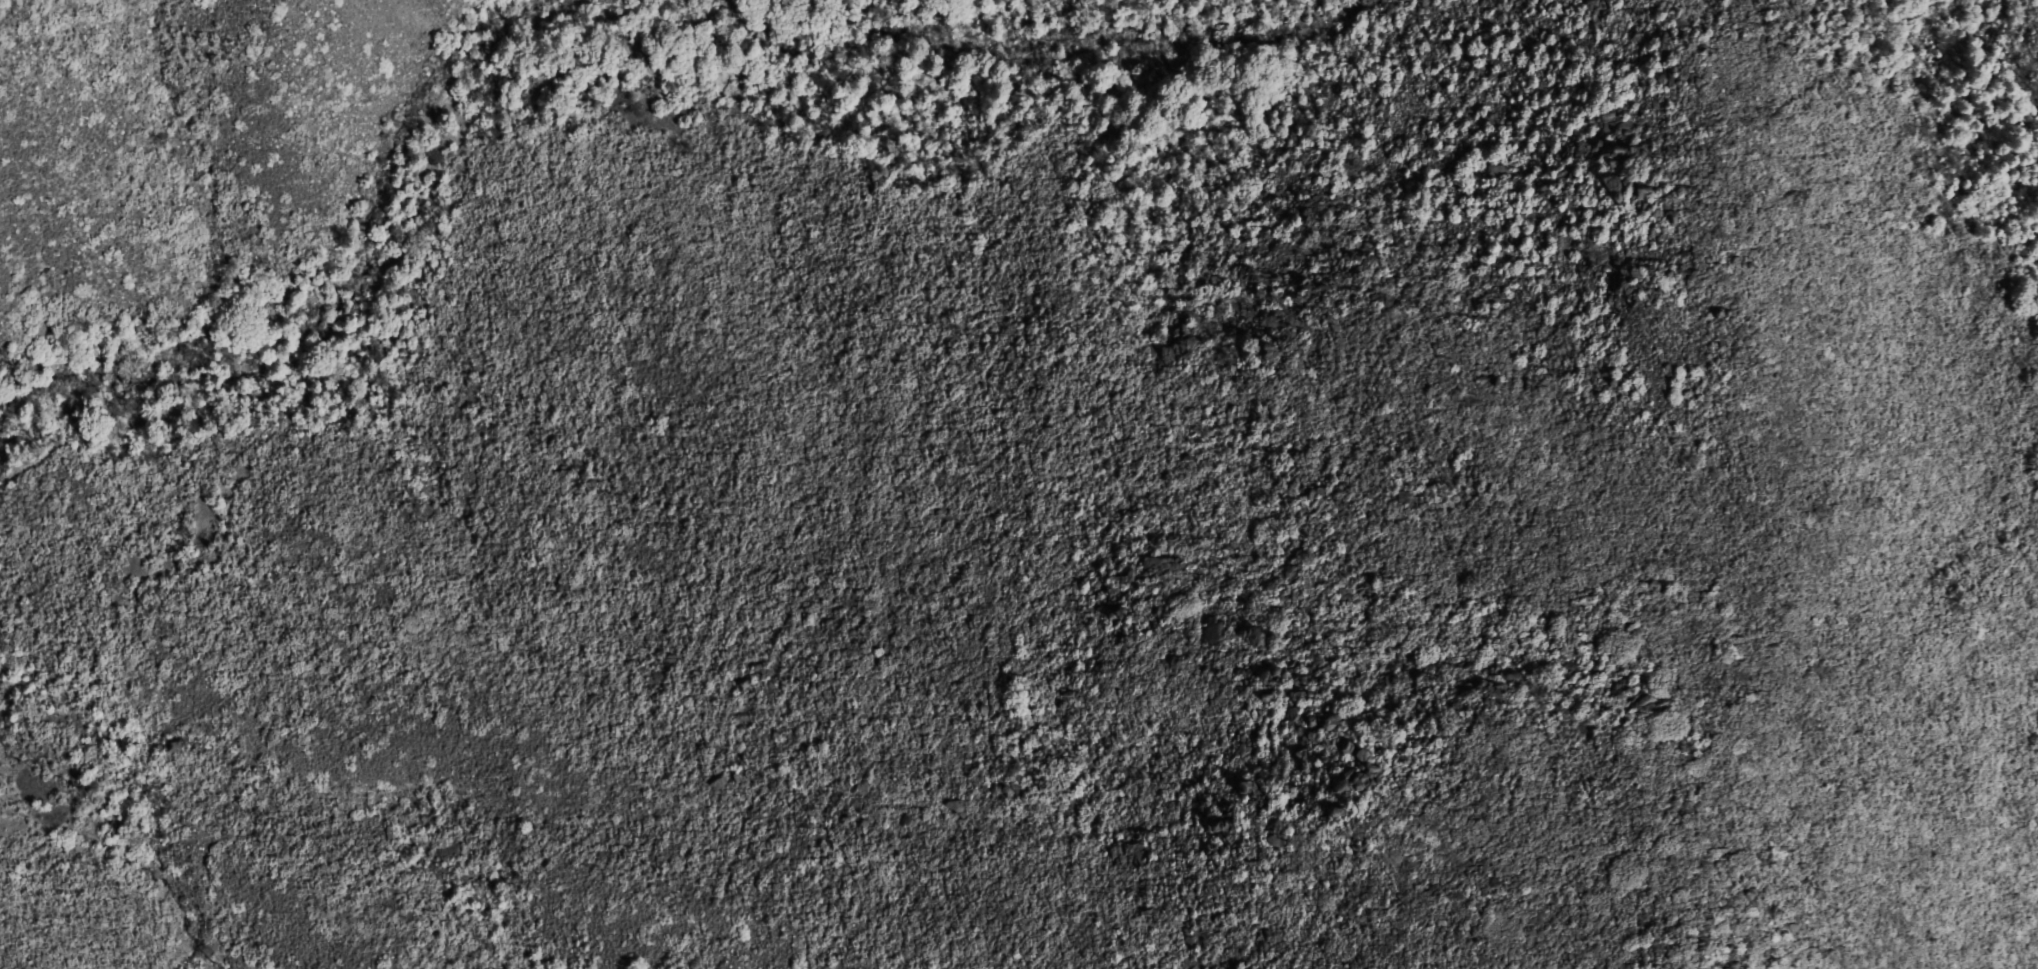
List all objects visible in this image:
road: (398, 242)

